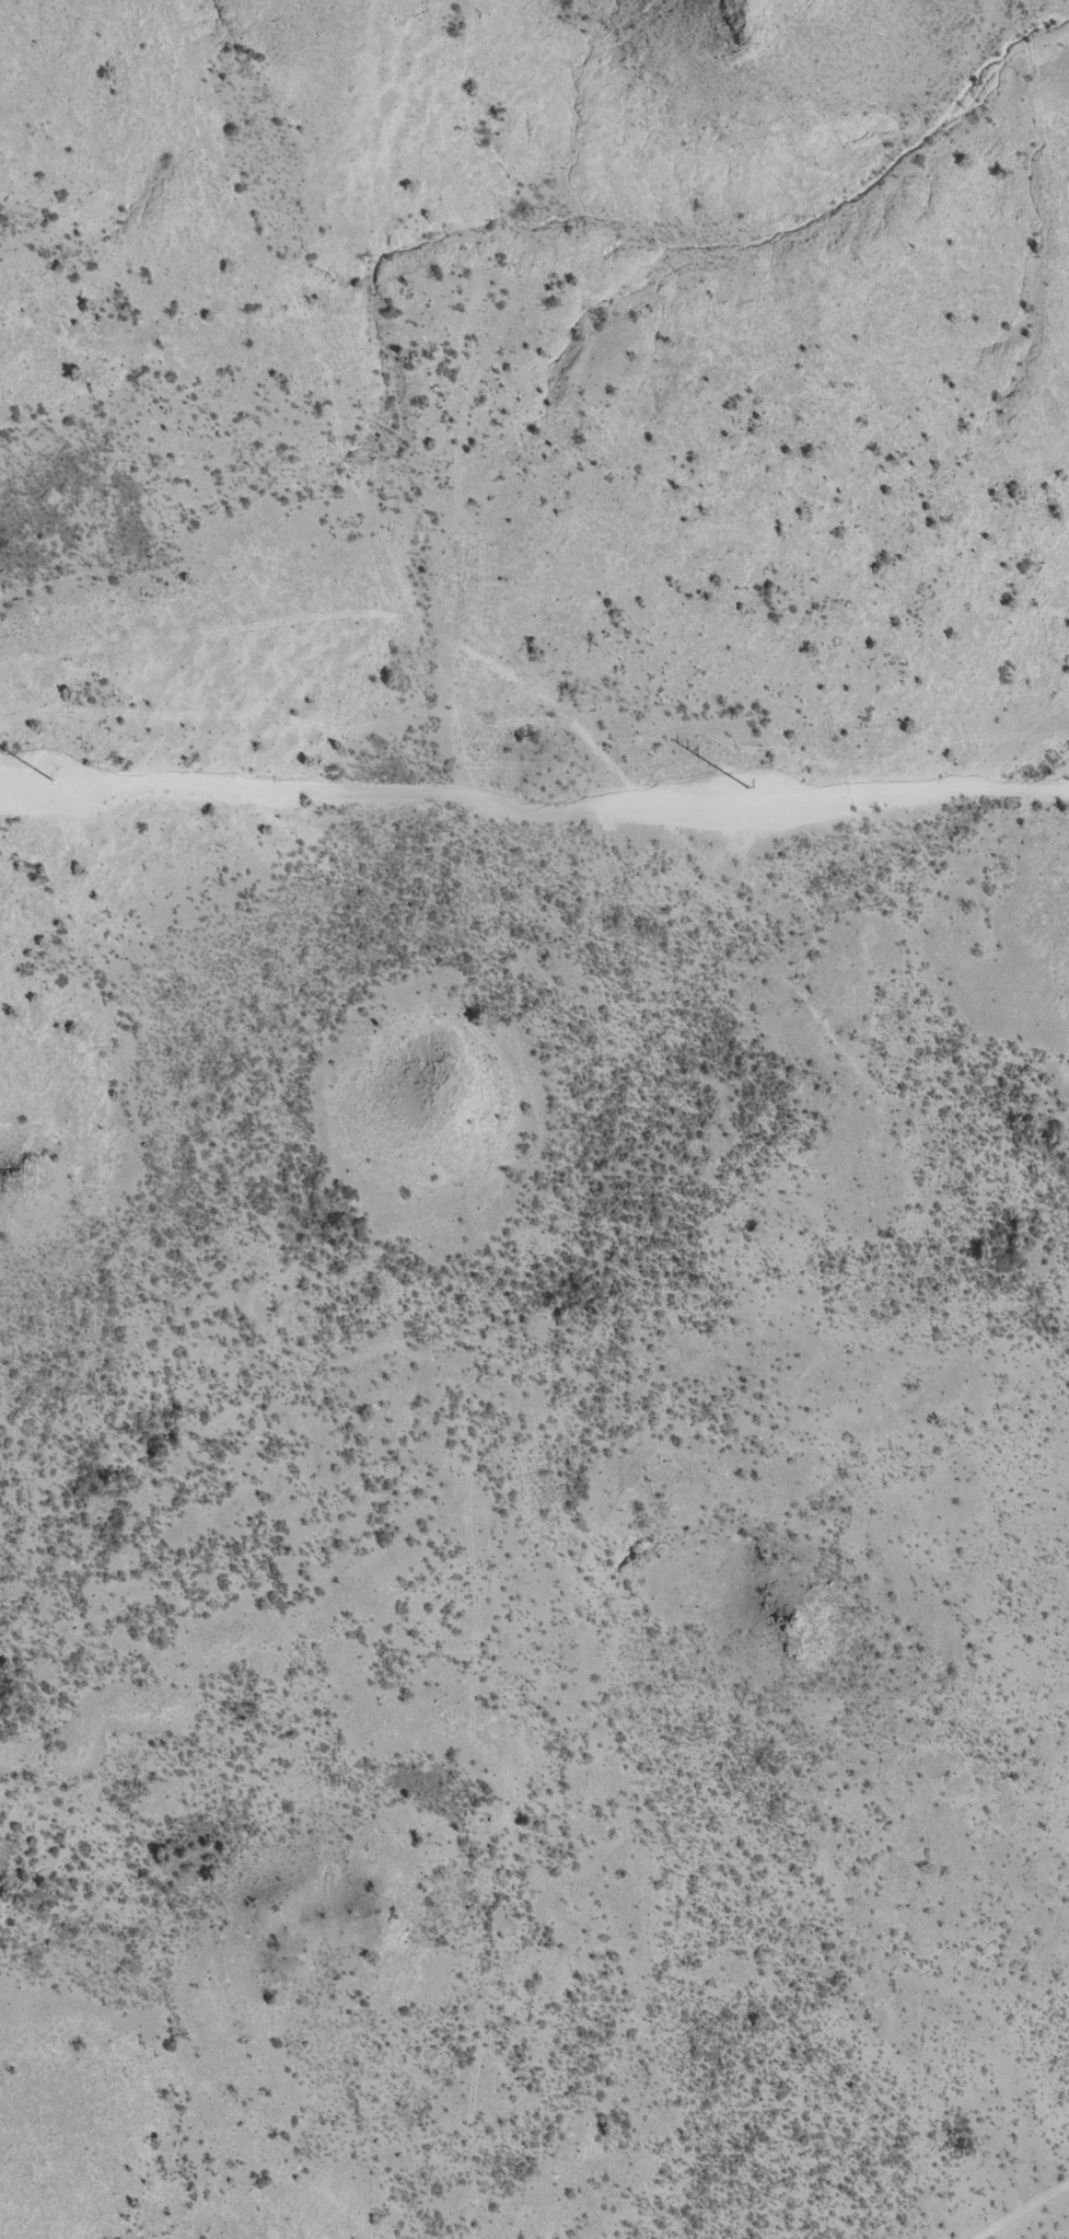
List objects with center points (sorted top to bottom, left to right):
power tower: (759, 790)
road: (1011, 2184)

